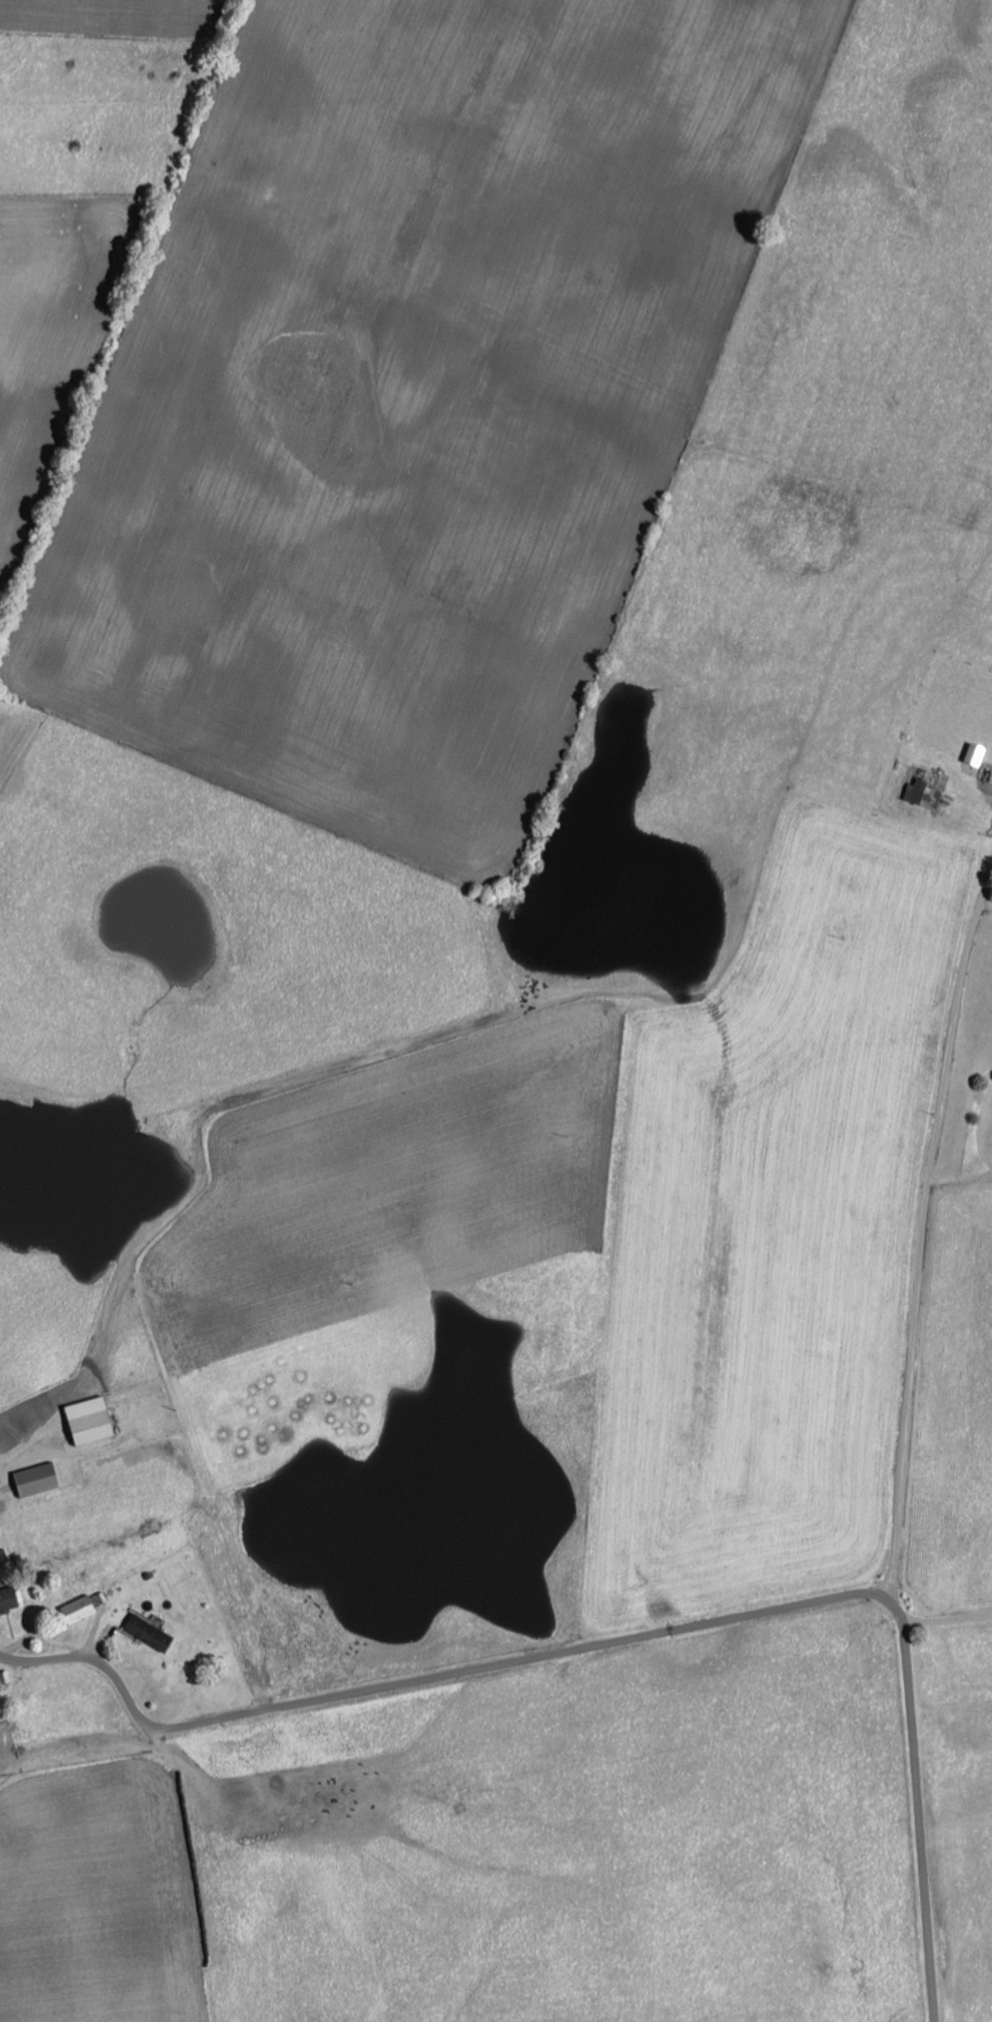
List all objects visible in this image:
building: (978, 753)
road: (928, 1245)
building: (93, 1420)
building: (40, 1479)
building: (10, 1599)
building: (85, 1607)
building: (151, 1632)
road: (639, 1637)

